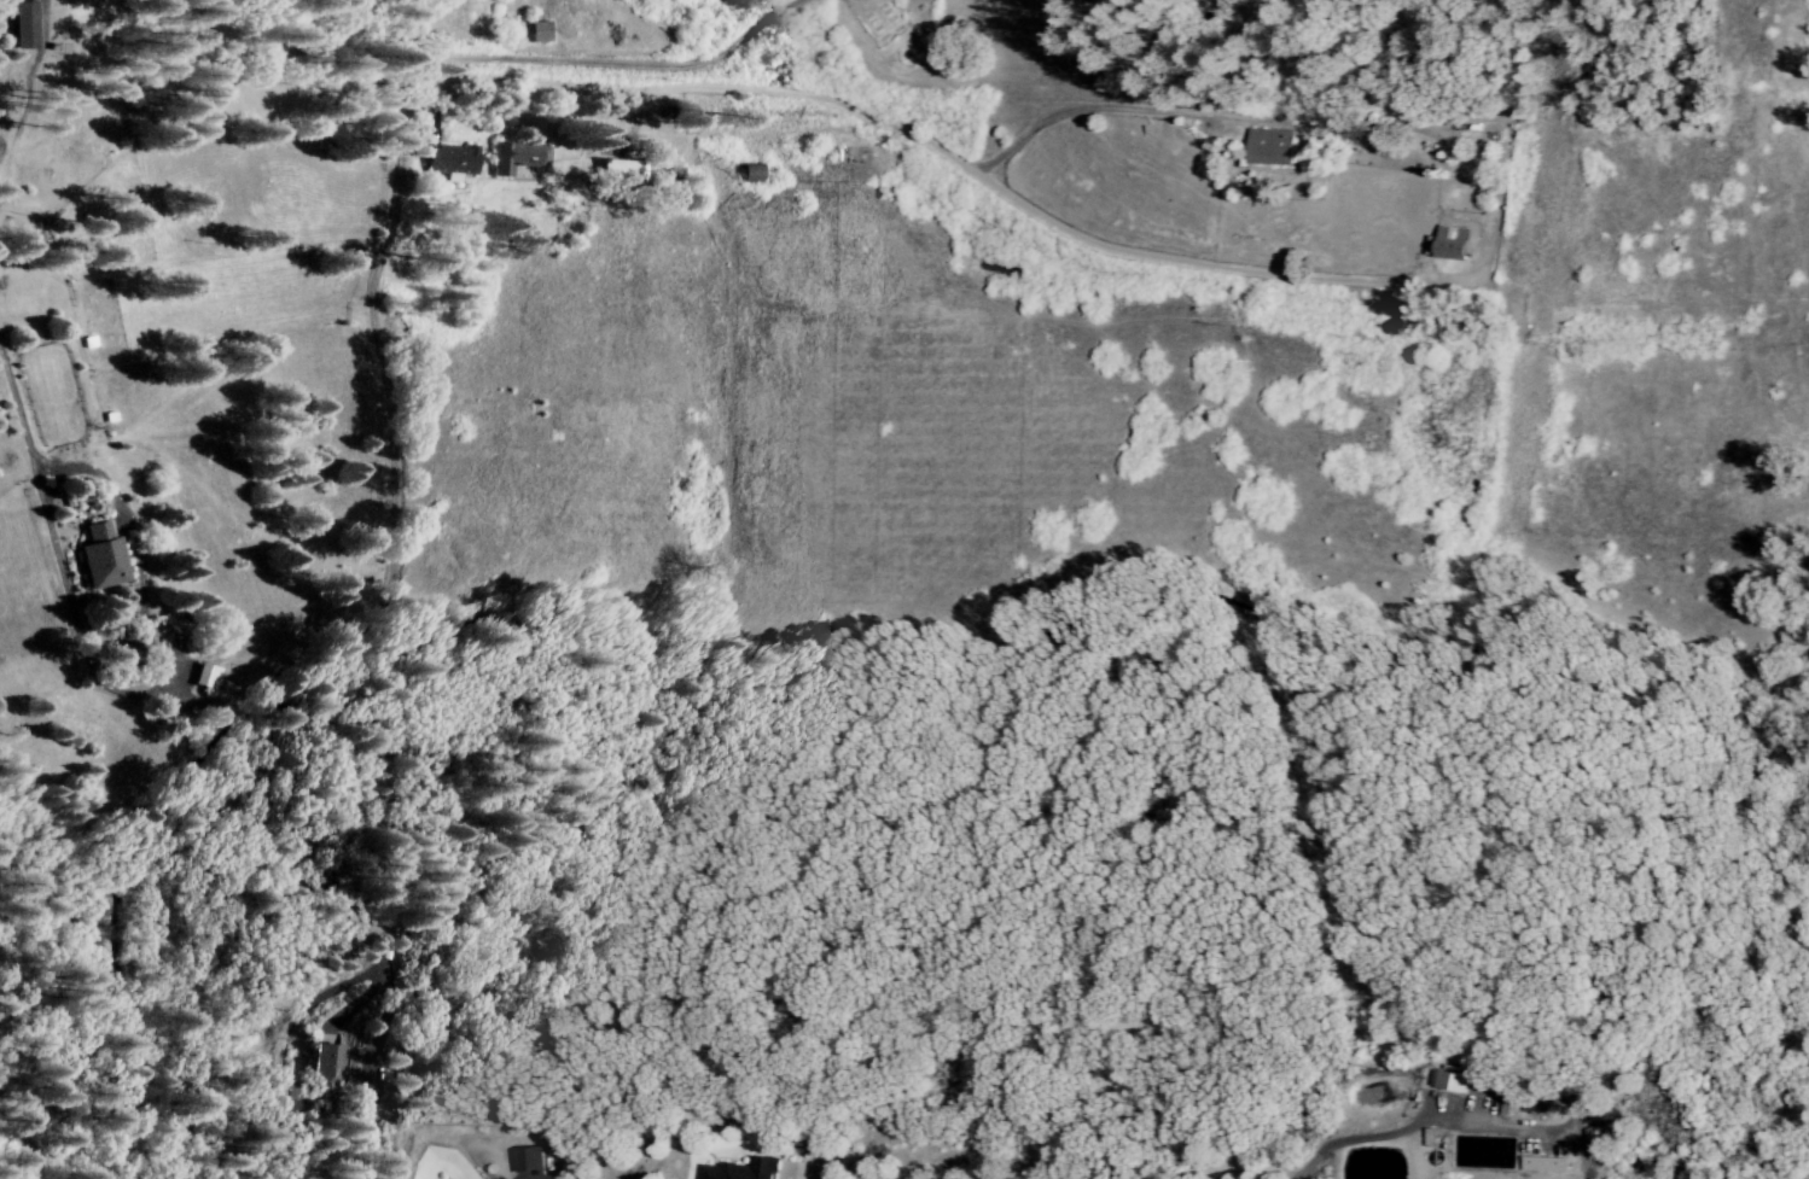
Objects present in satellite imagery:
building: (21, 24)
building: (537, 34)
road: (406, 49)
road: (609, 63)
road: (1069, 109)
building: (1269, 148)
road: (937, 150)
building: (447, 160)
building: (517, 163)
building: (620, 171)
building: (749, 175)
building: (1449, 244)
building: (99, 559)
building: (203, 678)
road: (890, 1010)
building: (321, 1072)
building: (1447, 1082)
road: (1452, 1116)
road: (180, 1151)
building: (1542, 1165)
building: (740, 1171)

